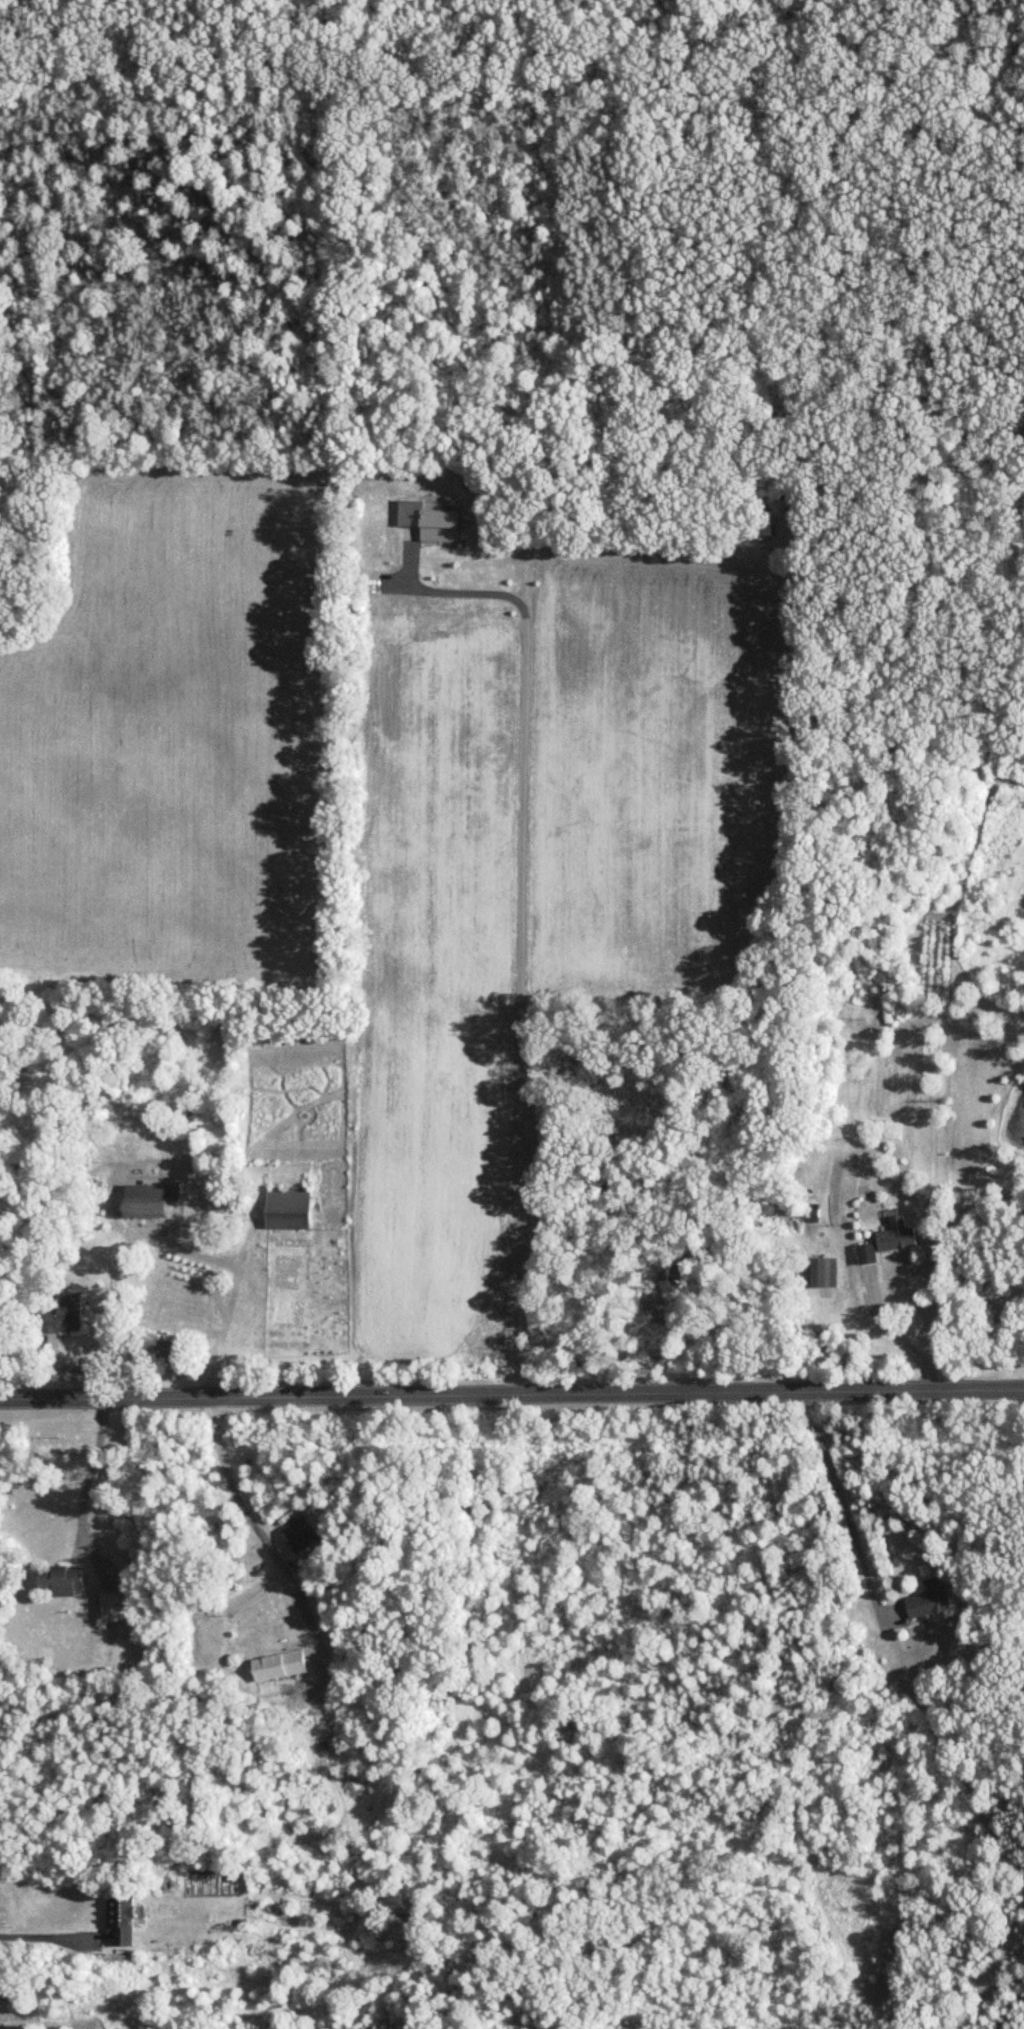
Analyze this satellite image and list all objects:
road: (542, 25)
road: (535, 54)
road: (907, 64)
road: (525, 947)
building: (153, 1202)
building: (292, 1208)
building: (900, 1236)
road: (172, 1244)
building: (870, 1254)
building: (827, 1273)
building: (65, 1316)
road: (901, 1338)
building: (165, 1352)
road: (511, 1395)
road: (87, 1467)
road: (844, 1508)
road: (255, 1525)
building: (301, 1534)
building: (64, 1581)
building: (932, 1598)
building: (116, 1606)
building: (282, 1665)
building: (124, 1920)
road: (30, 1937)

